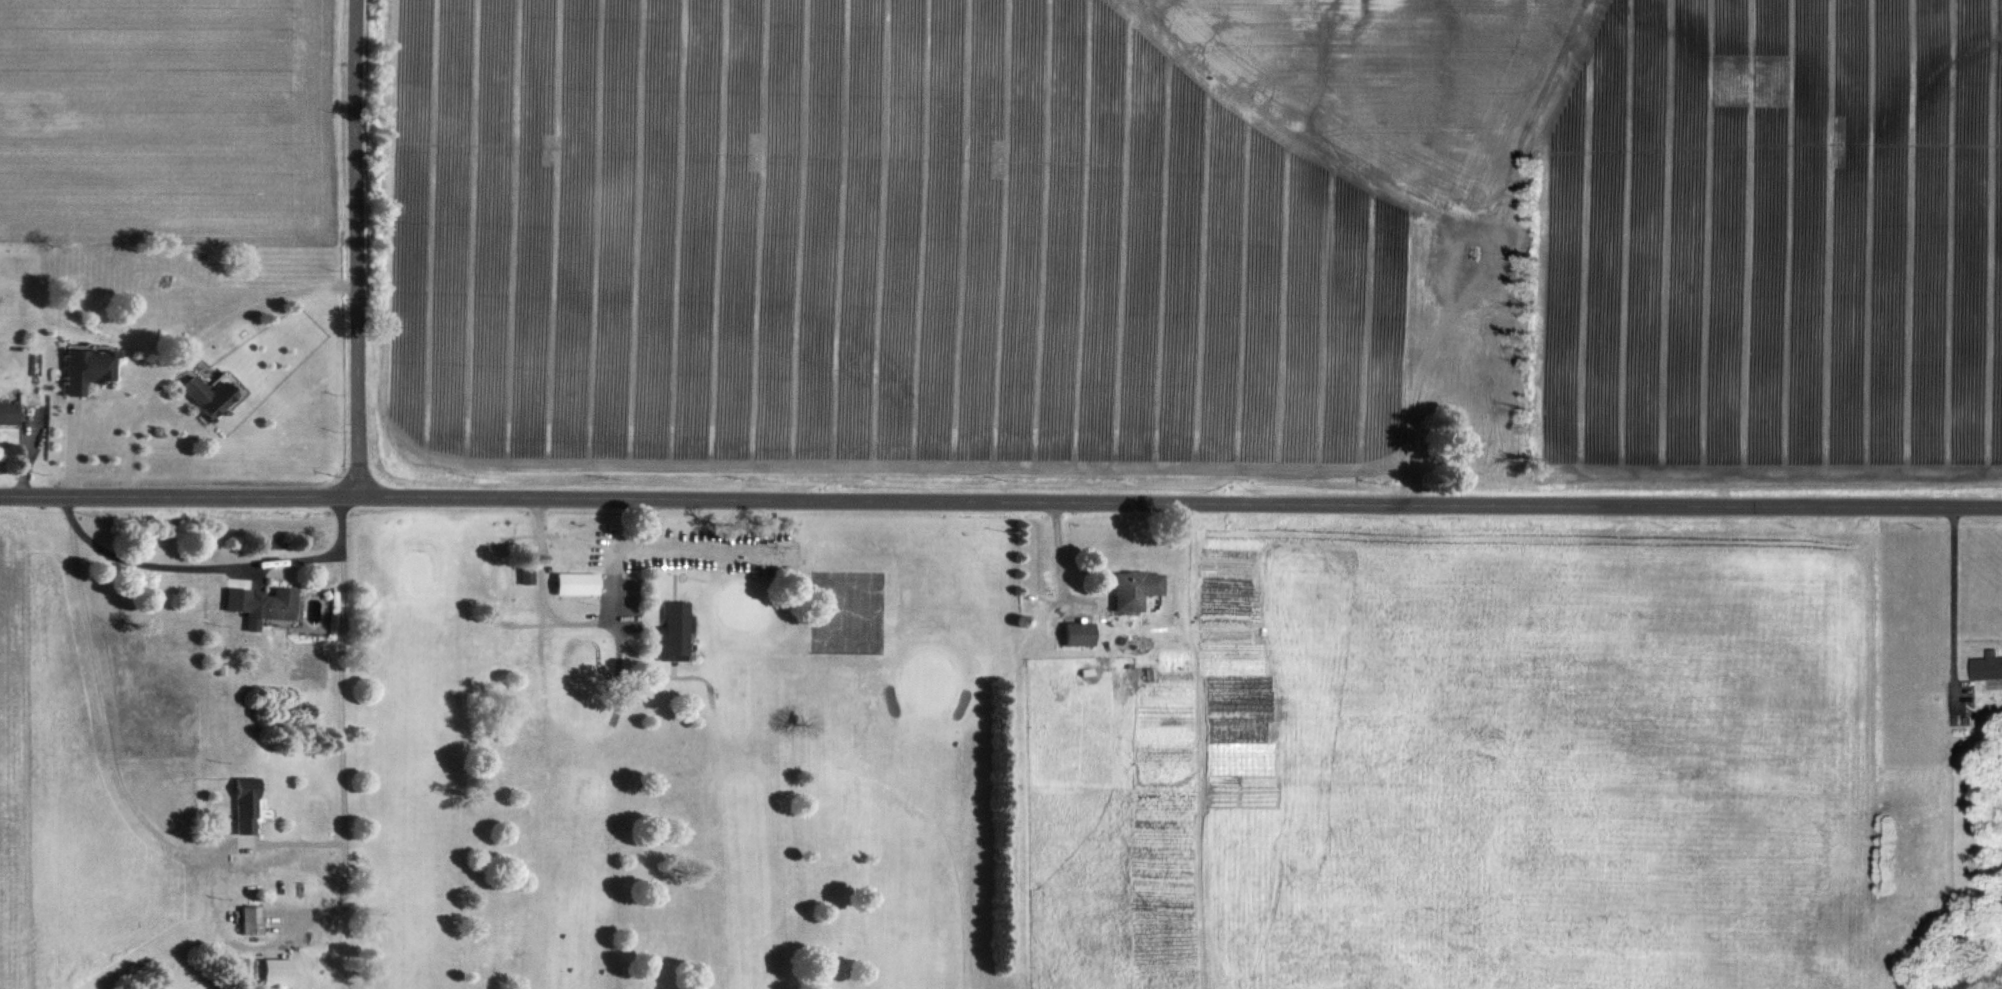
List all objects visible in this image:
road: (364, 247)
road: (241, 310)
building: (82, 366)
road: (1419, 380)
building: (203, 395)
road: (129, 441)
road: (1000, 501)
parking lot: (666, 552)
road: (1062, 557)
road: (210, 564)
building: (574, 583)
building: (1135, 589)
road: (1949, 597)
building: (261, 604)
building: (1078, 634)
building: (1986, 666)
park: (687, 755)
building: (244, 805)
road: (232, 846)
building: (251, 920)
building: (236, 965)
building: (274, 972)

